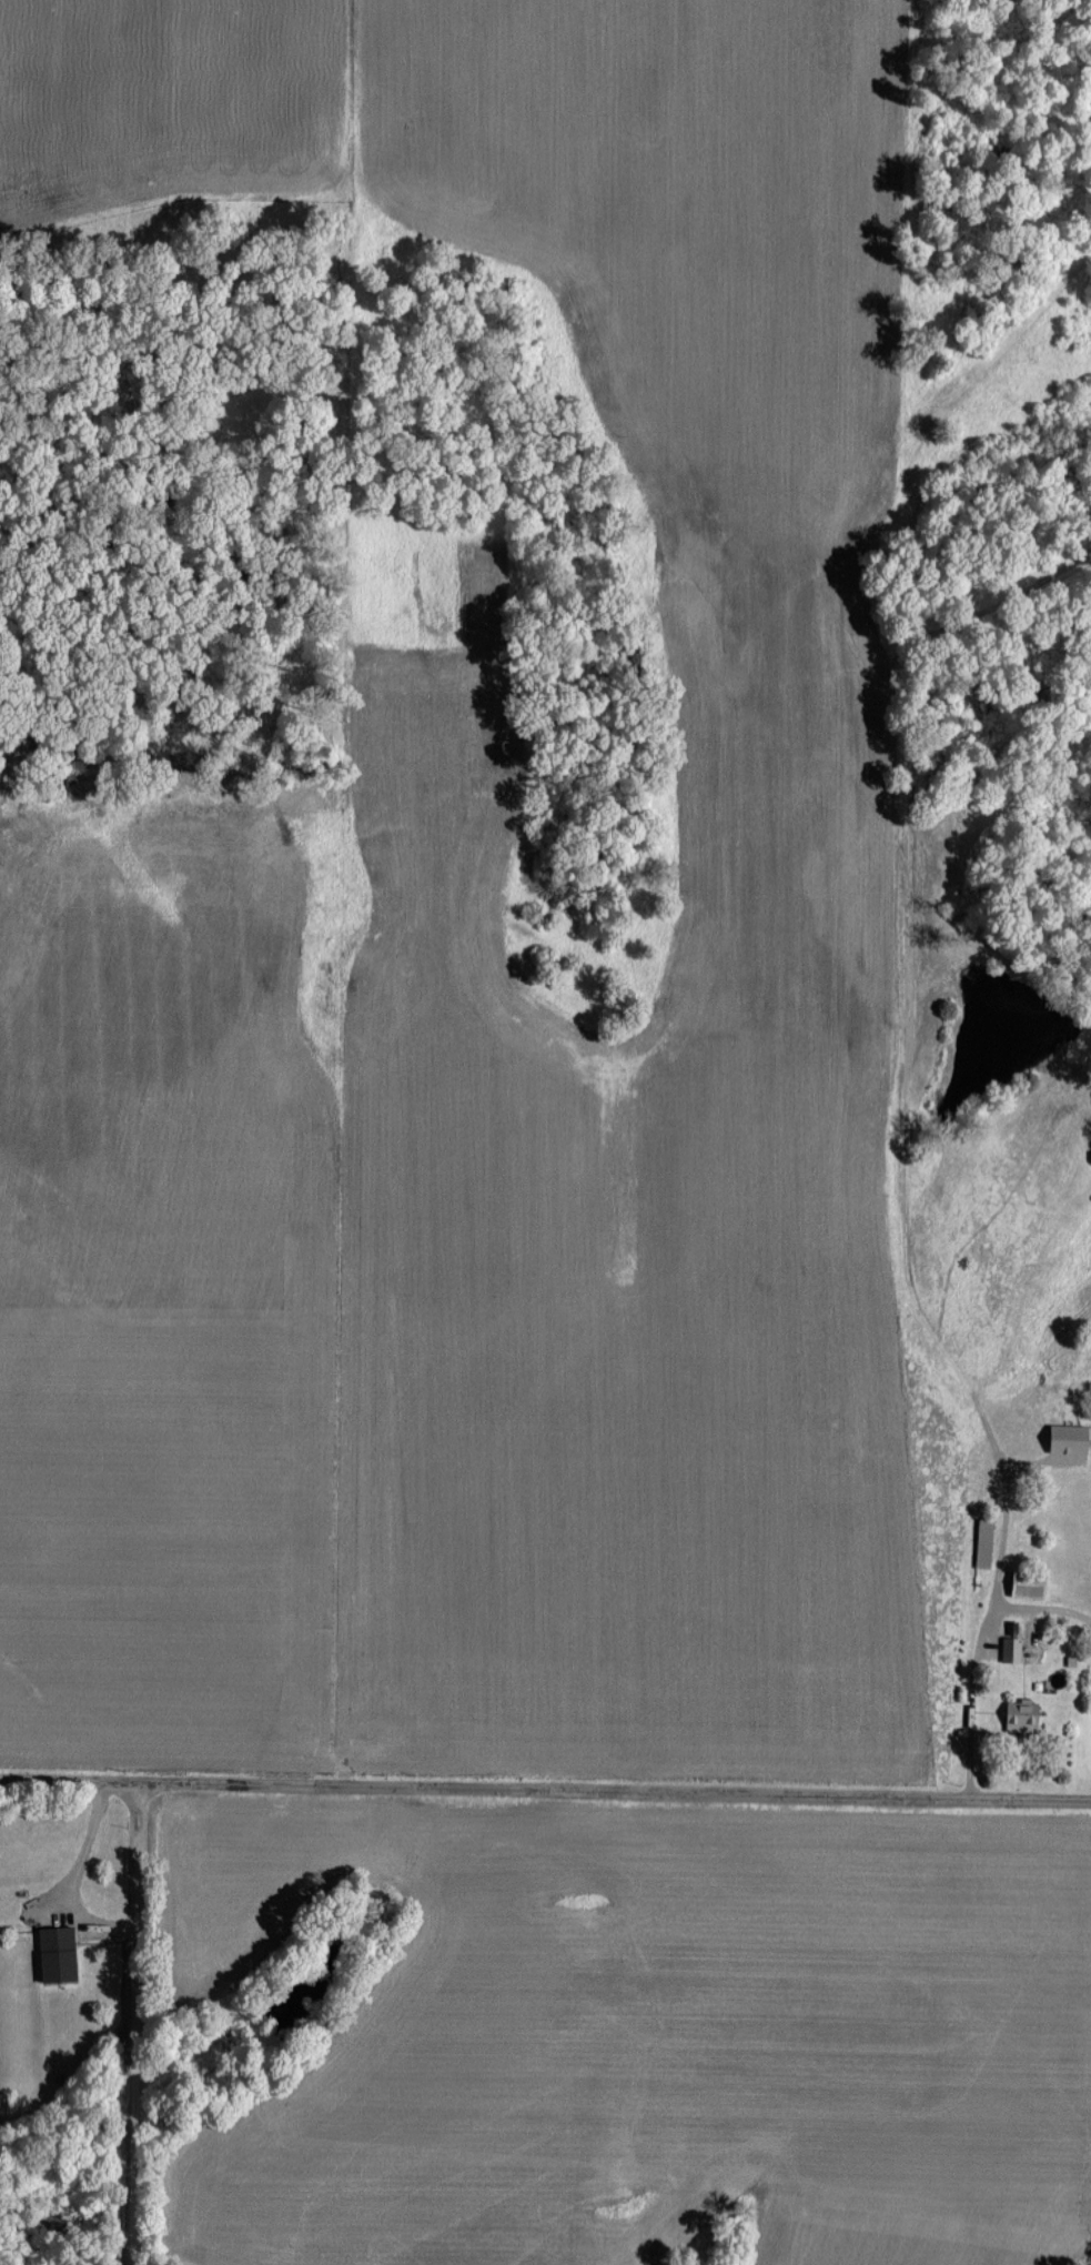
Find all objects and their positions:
building: (1070, 1437)
building: (984, 1542)
building: (1029, 1582)
building: (1011, 1648)
building: (1022, 1714)
road: (545, 1786)
building: (58, 1952)
road: (137, 2023)

